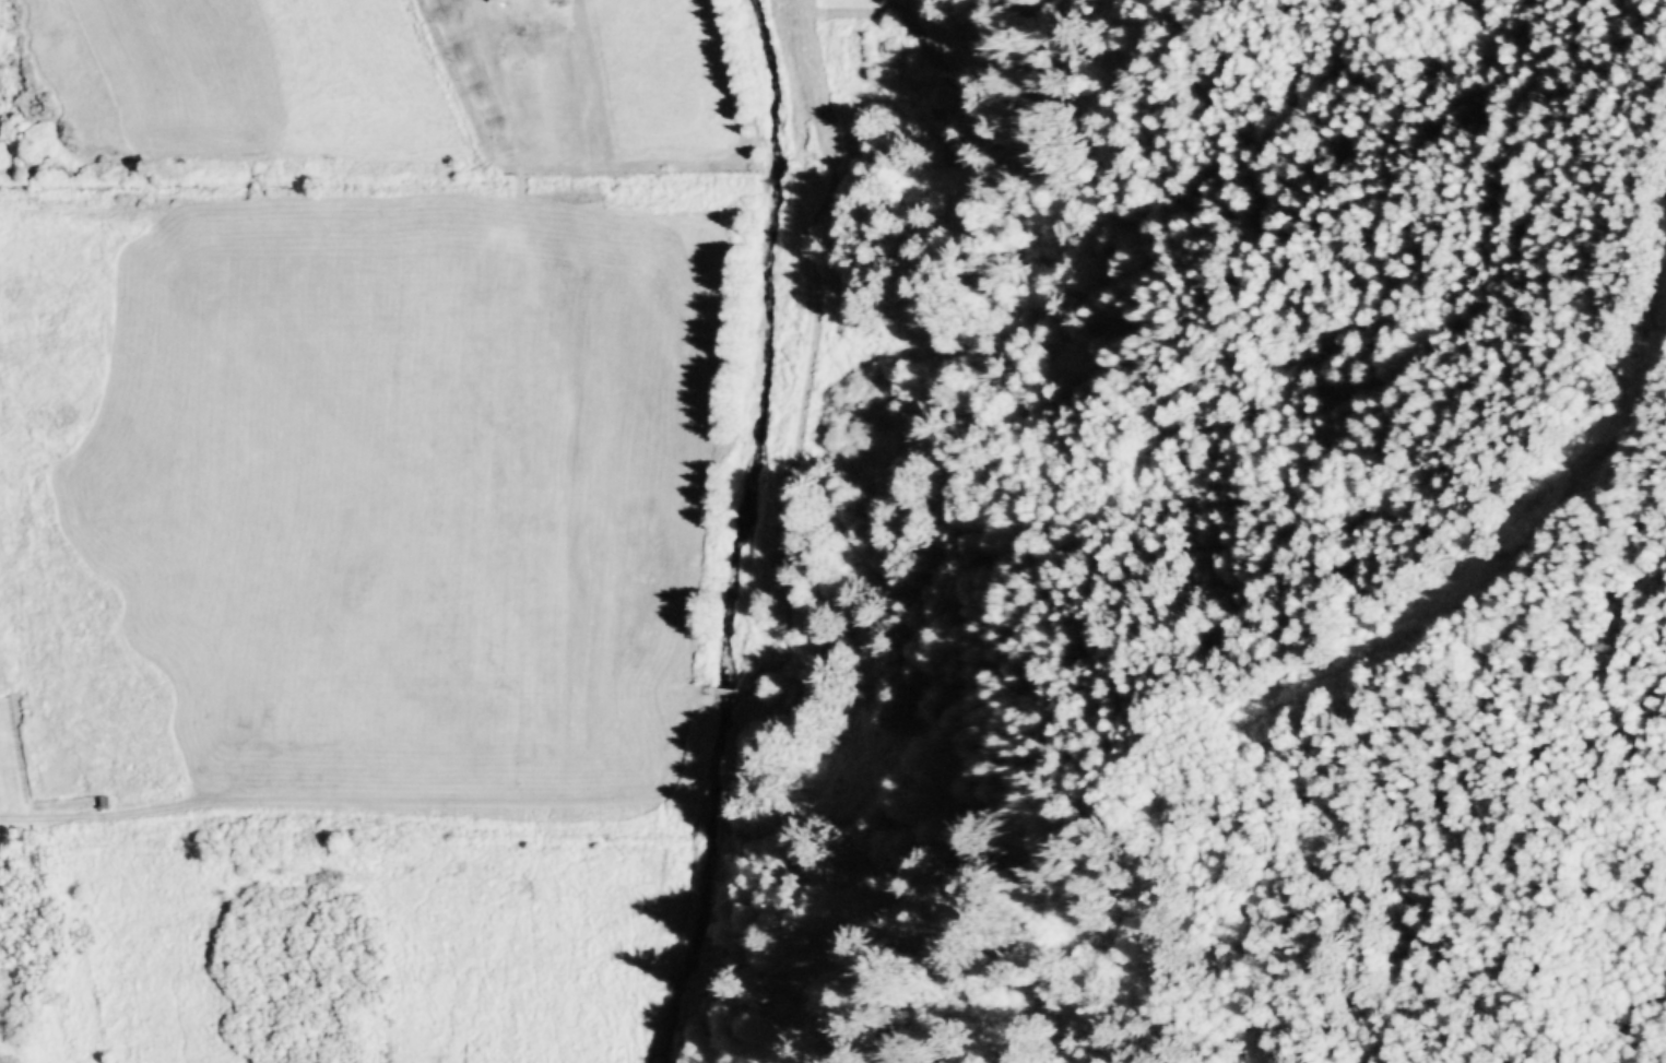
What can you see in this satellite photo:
river: (747, 532)
road: (1521, 567)

